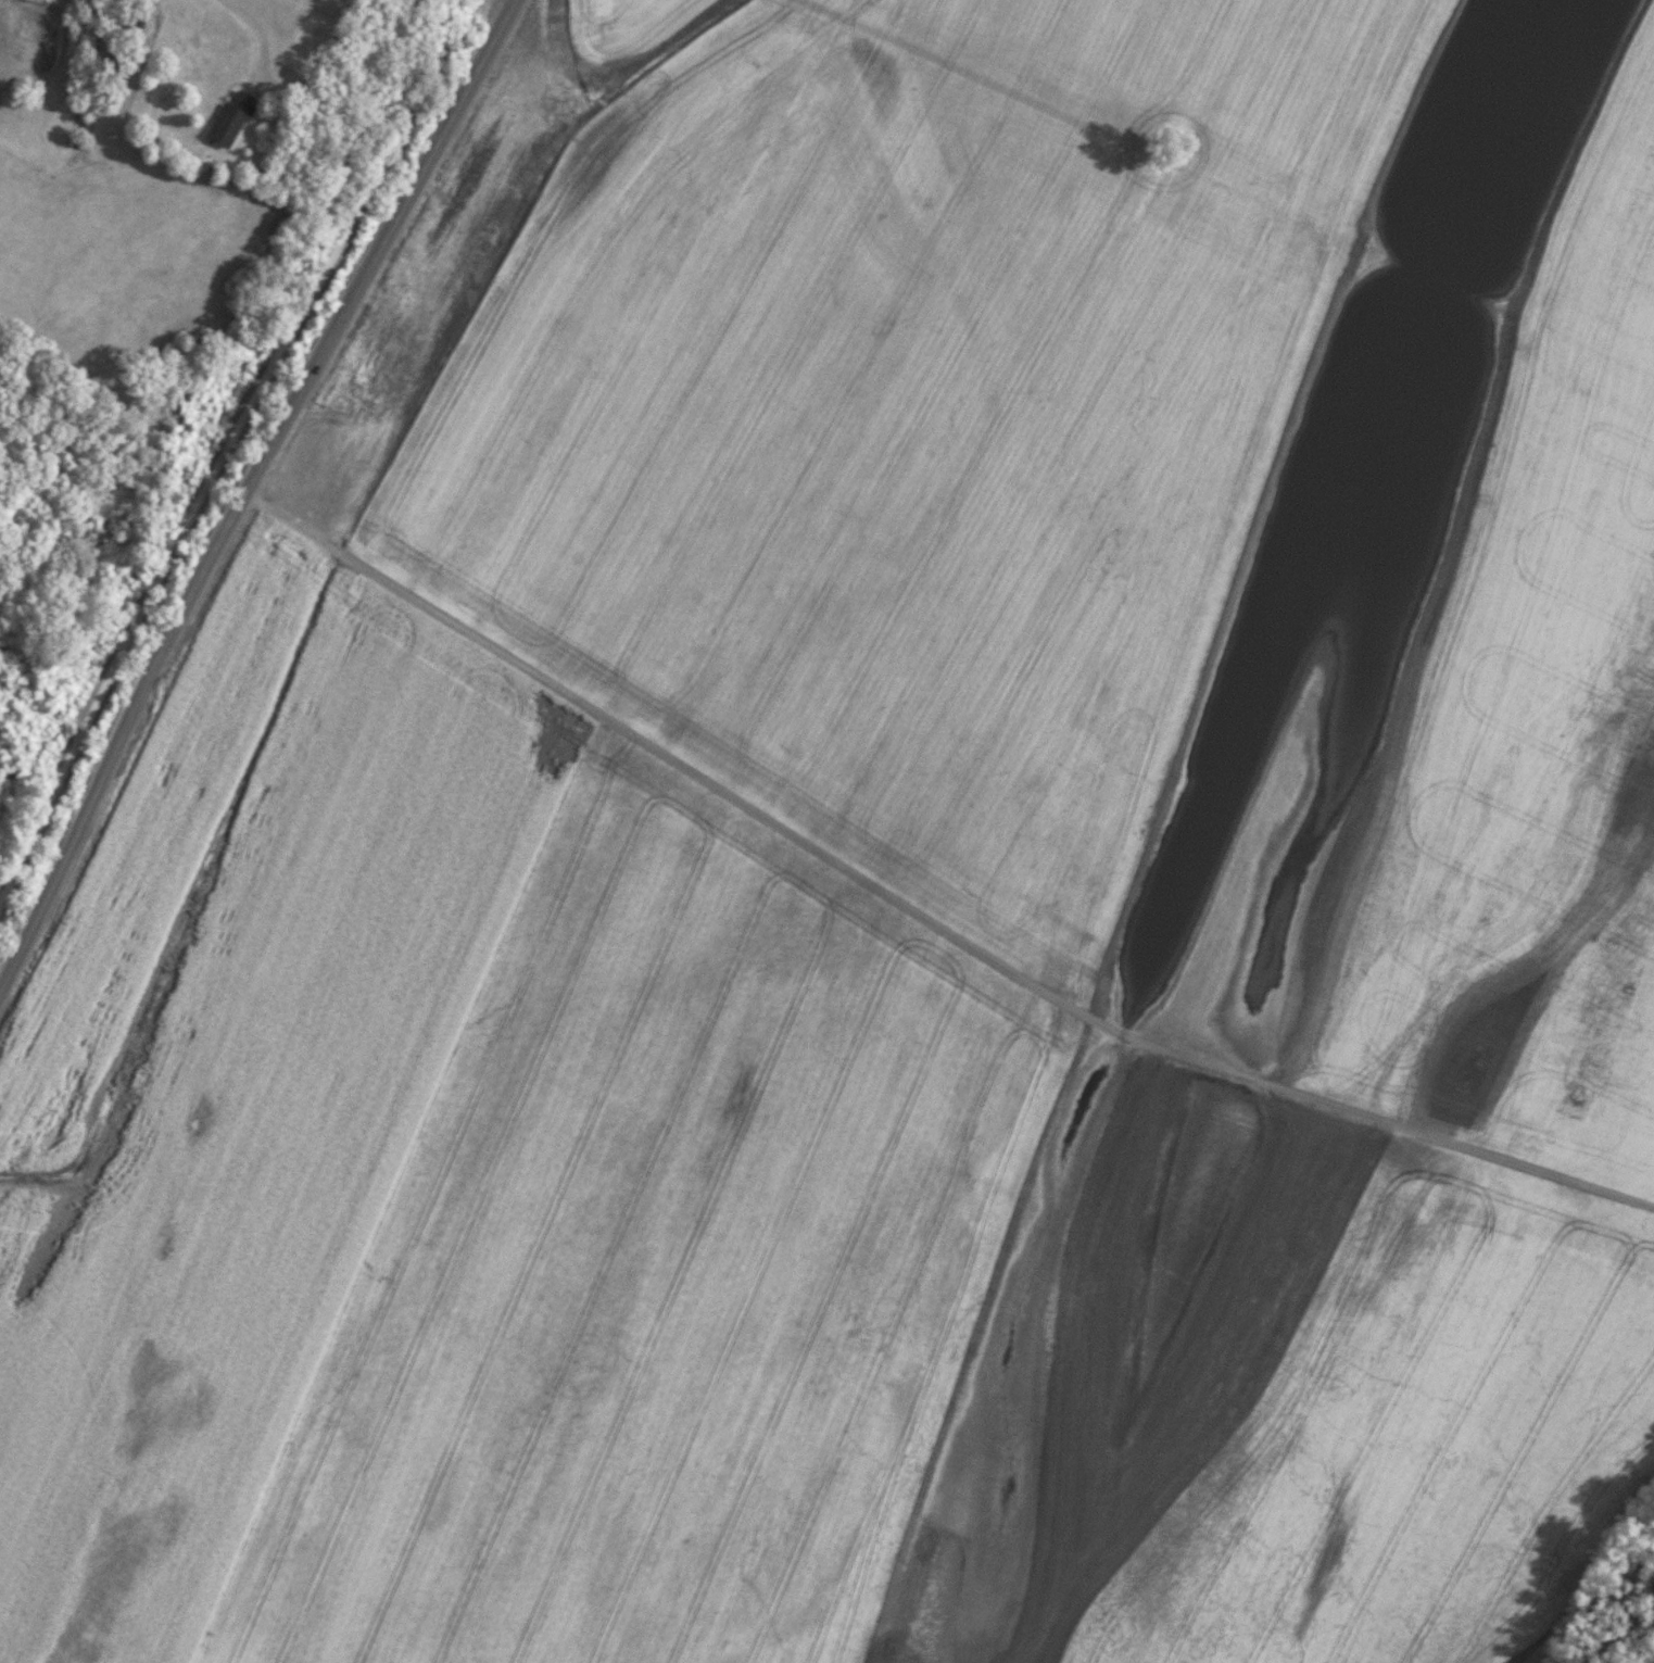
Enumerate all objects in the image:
road: (262, 22)
building: (232, 119)
road: (232, 441)
road: (250, 491)

